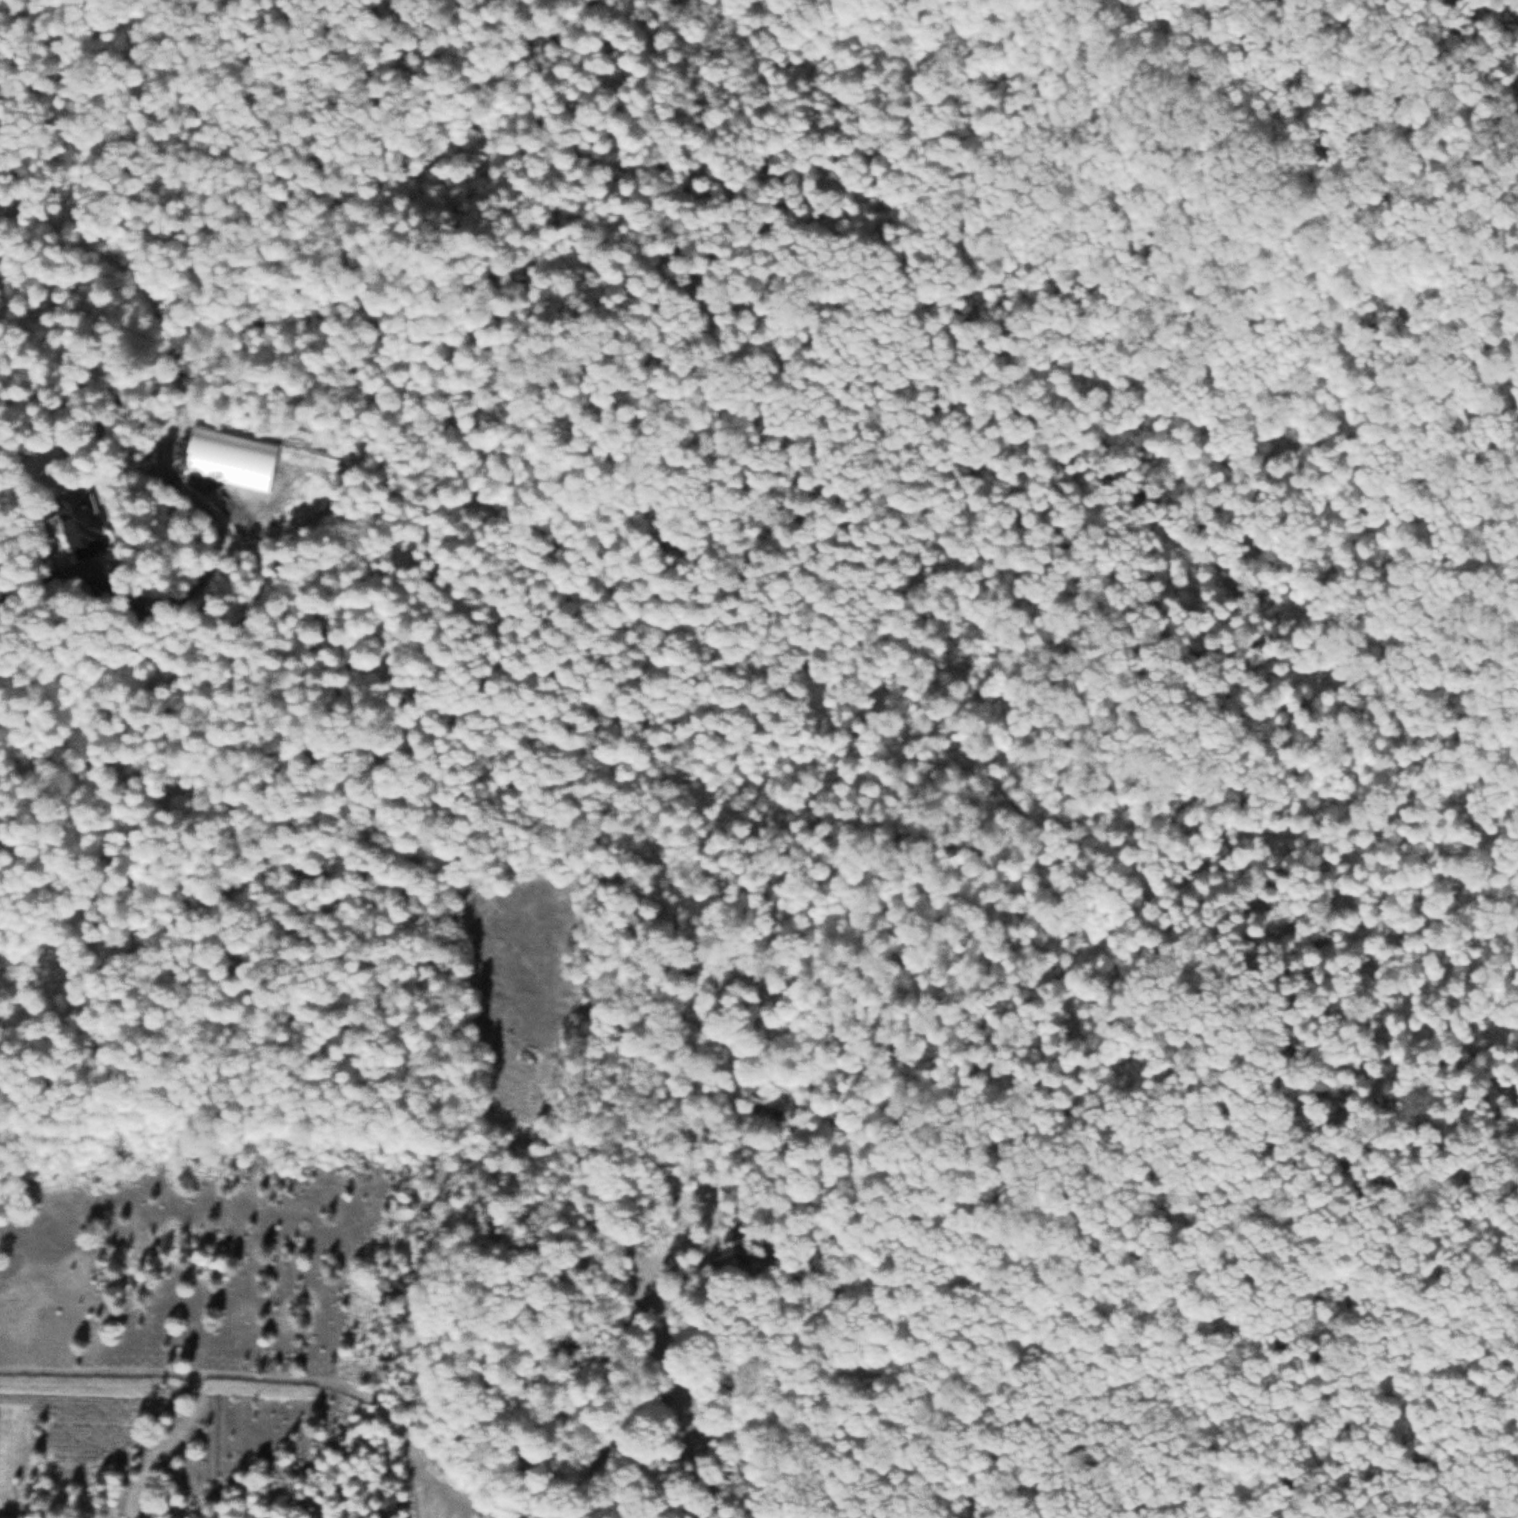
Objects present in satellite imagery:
building: (88, 527)

